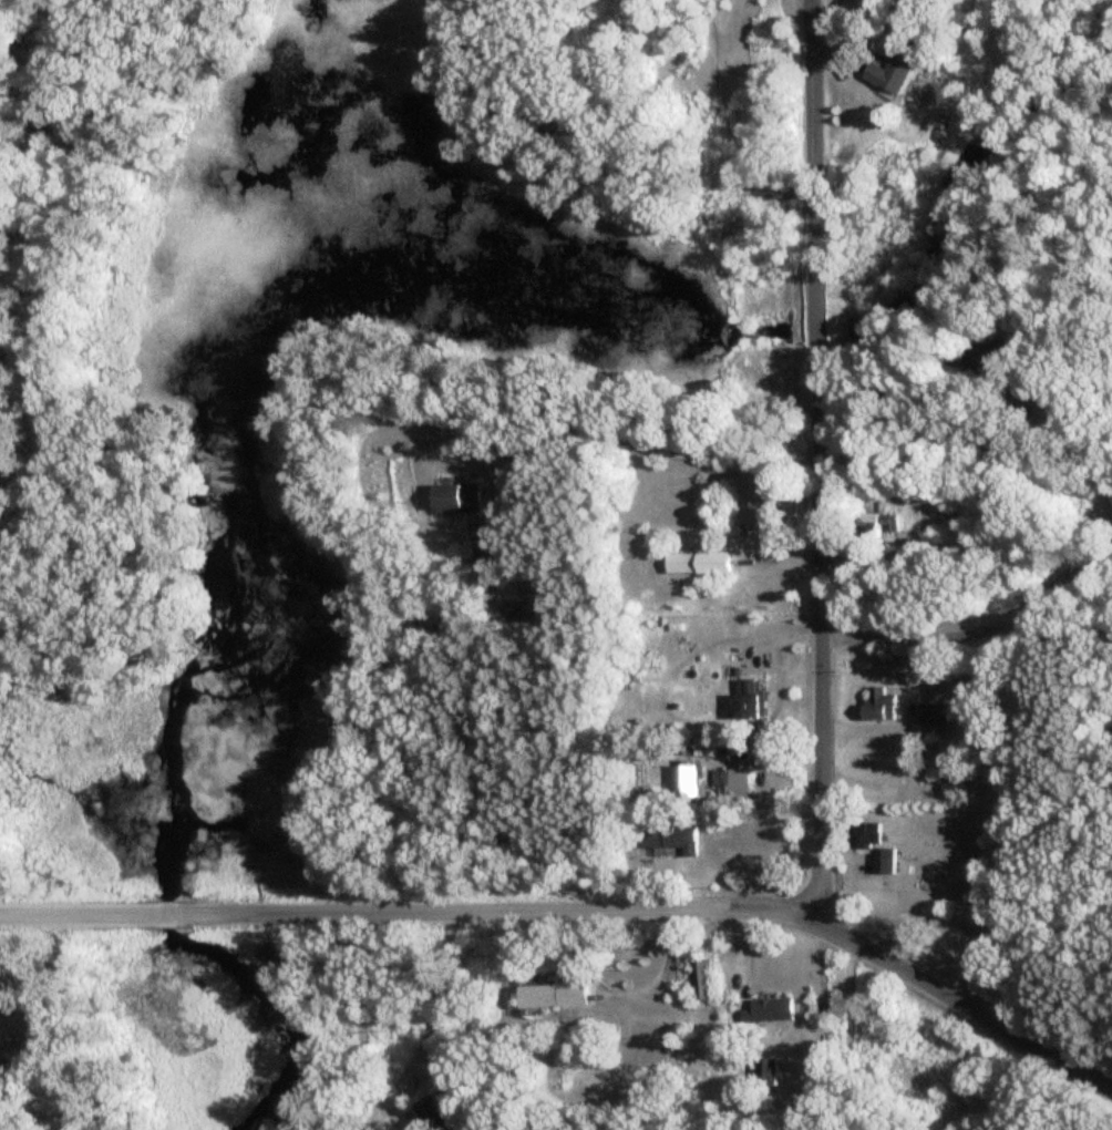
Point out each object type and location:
road: (810, 28)
road: (840, 56)
road: (853, 61)
building: (890, 75)
road: (643, 154)
road: (815, 306)
building: (988, 356)
building: (1048, 417)
building: (1110, 492)
building: (456, 500)
building: (758, 516)
building: (879, 527)
road: (776, 557)
building: (697, 565)
road: (974, 631)
building: (749, 700)
building: (876, 705)
building: (928, 763)
building: (686, 782)
building: (732, 783)
building: (663, 836)
building: (874, 845)
road: (817, 904)
road: (573, 912)
road: (163, 914)
building: (703, 980)
building: (540, 996)
building: (769, 1011)
road: (824, 1023)
road: (360, 1024)
road: (426, 1026)
building: (12, 1056)
building: (765, 1072)

